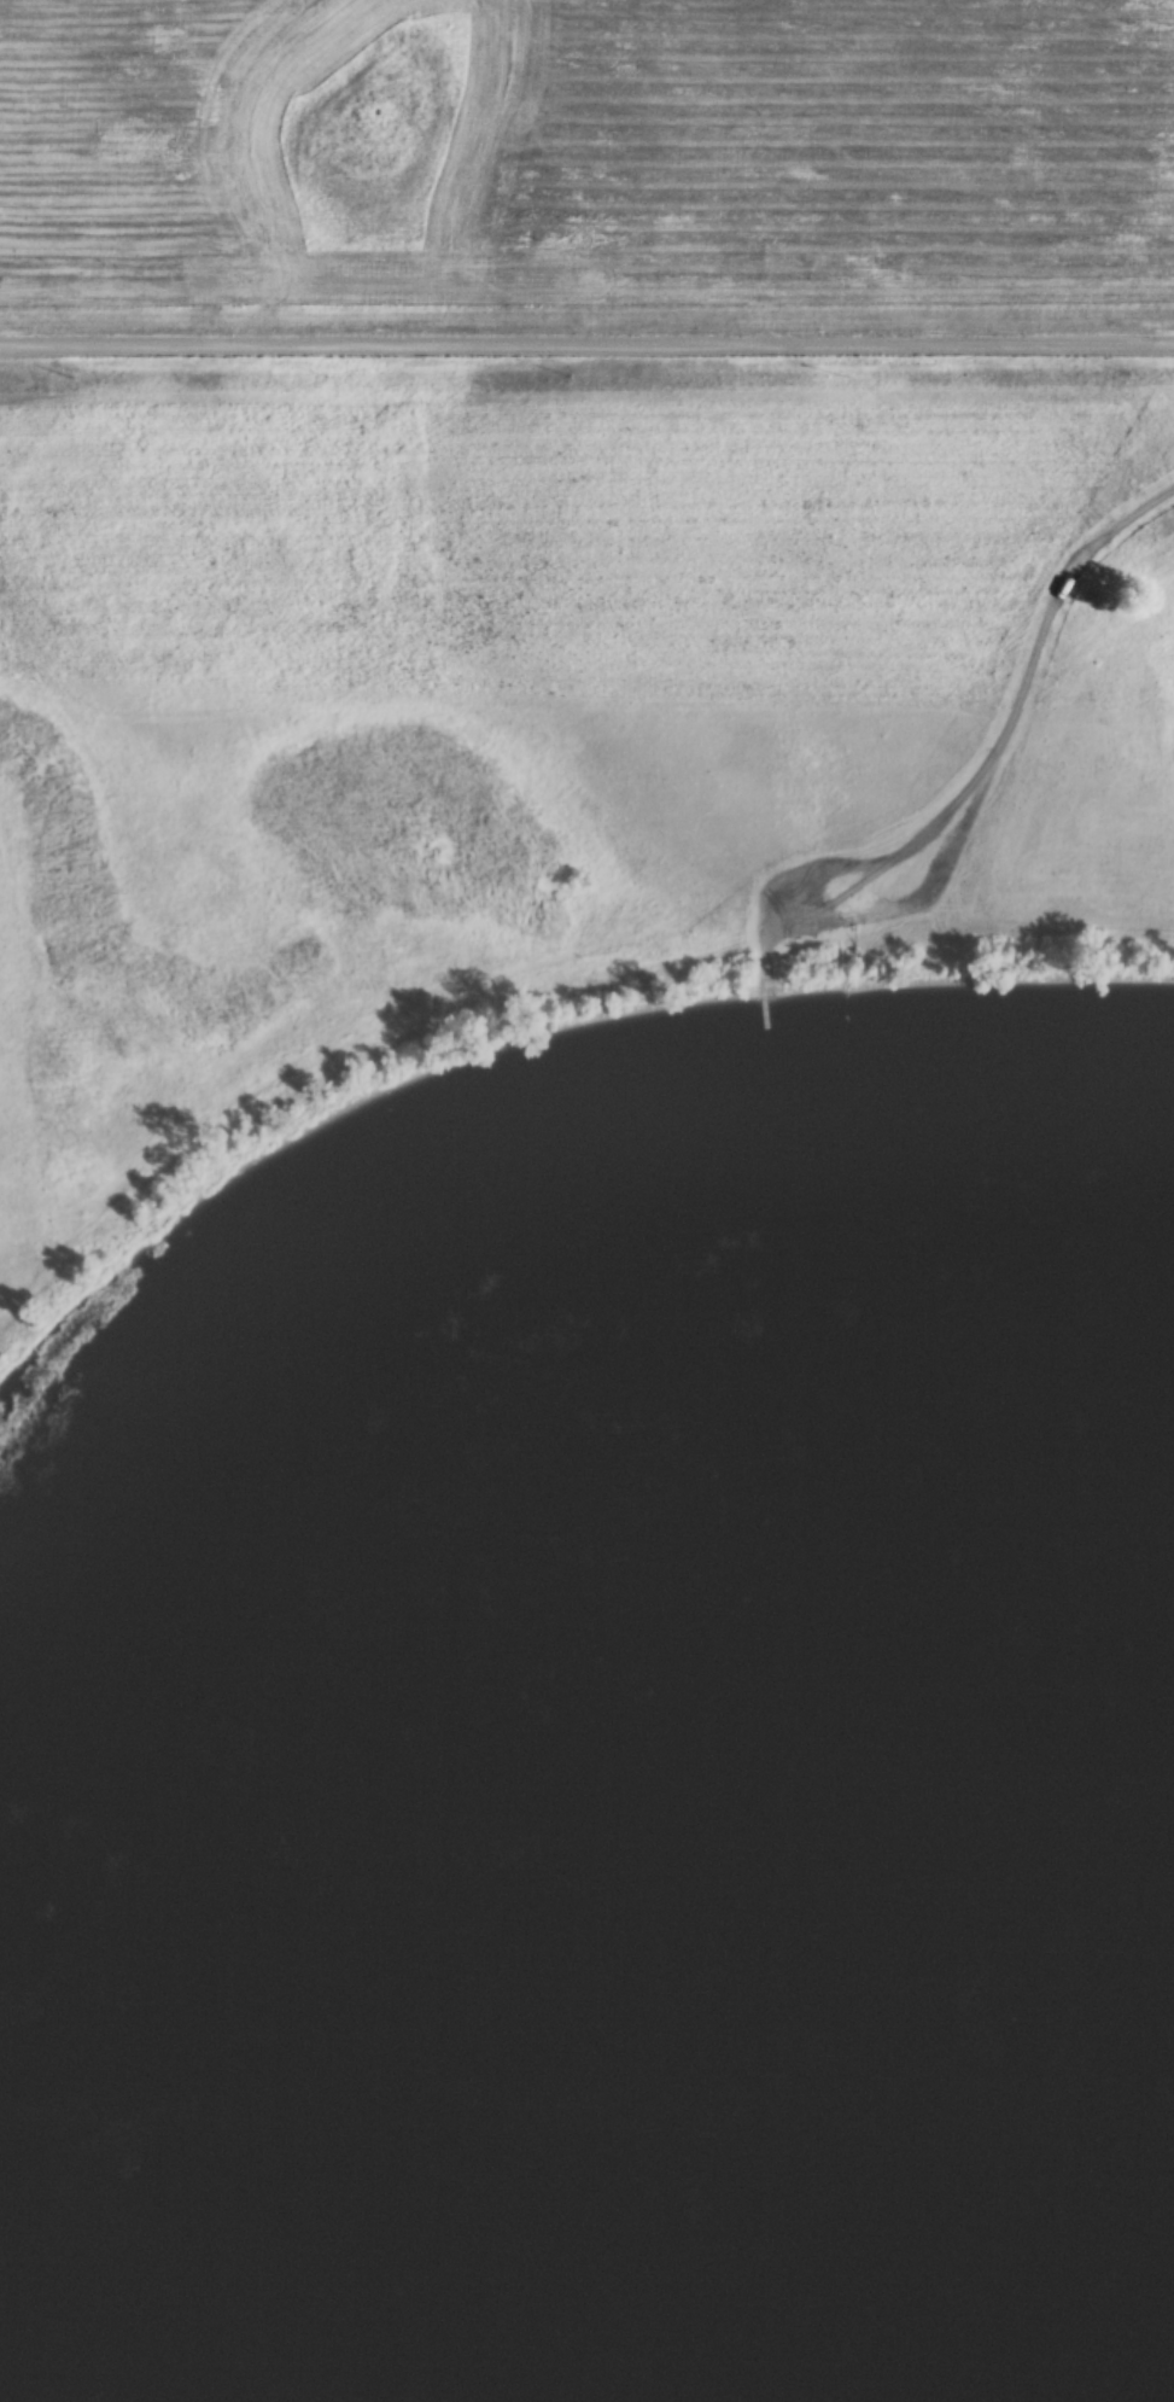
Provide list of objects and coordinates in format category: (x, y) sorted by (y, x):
road: (586, 342)
road: (1007, 737)

